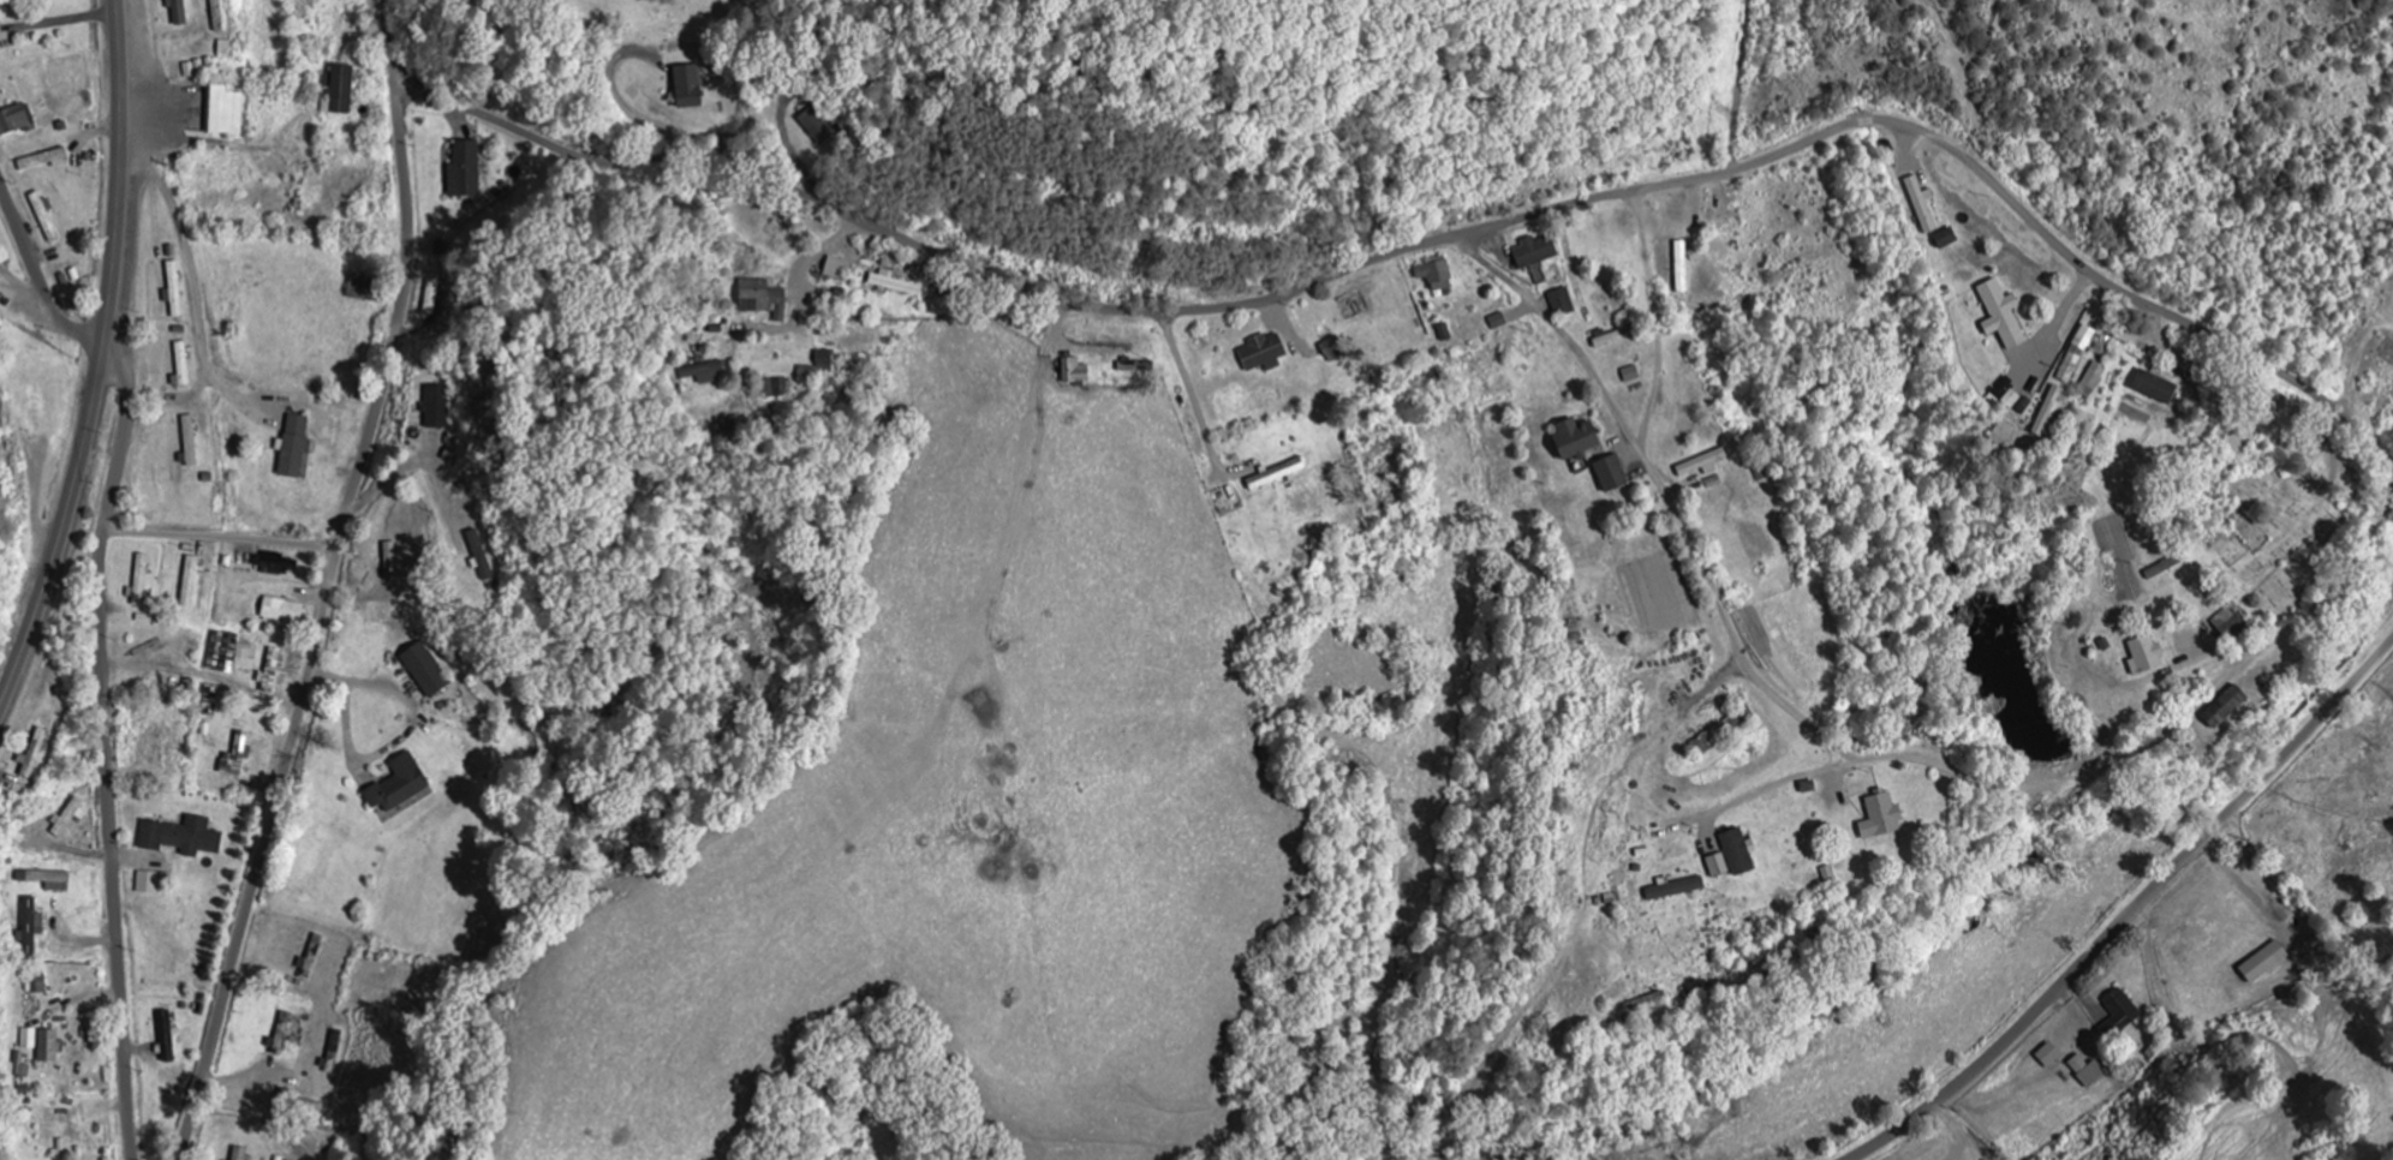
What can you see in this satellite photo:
building: (178, 11)
building: (1, 32)
building: (688, 88)
building: (340, 91)
building: (225, 112)
building: (17, 120)
building: (818, 125)
building: (44, 160)
building: (465, 171)
building: (1922, 204)
building: (46, 217)
building: (1946, 239)
road: (1428, 246)
building: (1536, 252)
building: (1682, 267)
building: (837, 269)
building: (1437, 274)
road: (37, 276)
building: (894, 283)
building: (363, 288)
building: (174, 289)
building: (431, 297)
building: (763, 299)
building: (1562, 303)
building: (2003, 316)
building: (1498, 322)
building: (2129, 337)
building: (2103, 346)
building: (1333, 349)
building: (1264, 353)
building: (2077, 355)
building: (825, 360)
road: (101, 361)
building: (181, 366)
building: (705, 372)
building: (1075, 372)
building: (1631, 375)
building: (806, 379)
building: (2093, 381)
building: (777, 388)
building: (2155, 388)
building: (2012, 400)
building: (437, 407)
building: (2049, 414)
building: (2003, 435)
building: (1576, 440)
building: (190, 442)
building: (293, 447)
building: (1703, 465)
building: (1611, 474)
building: (1276, 476)
building: (481, 556)
building: (274, 563)
building: (141, 580)
building: (190, 582)
road: (332, 584)
building: (282, 611)
building: (2230, 622)
building: (223, 650)
building: (2146, 657)
building: (246, 658)
building: (426, 670)
building: (271, 674)
building: (2225, 708)
building: (1721, 734)
road: (107, 749)
building: (32, 755)
building: (235, 759)
building: (399, 785)
building: (70, 817)
building: (1881, 819)
building: (181, 838)
building: (1738, 853)
building: (1718, 866)
building: (48, 880)
building: (148, 884)
building: (1675, 889)
road: (2134, 913)
building: (31, 927)
building: (2264, 963)
building: (38, 982)
building: (2119, 1015)
building: (282, 1033)
building: (166, 1038)
building: (42, 1045)
building: (2049, 1056)
building: (24, 1072)
building: (298, 1104)
building: (239, 1154)

